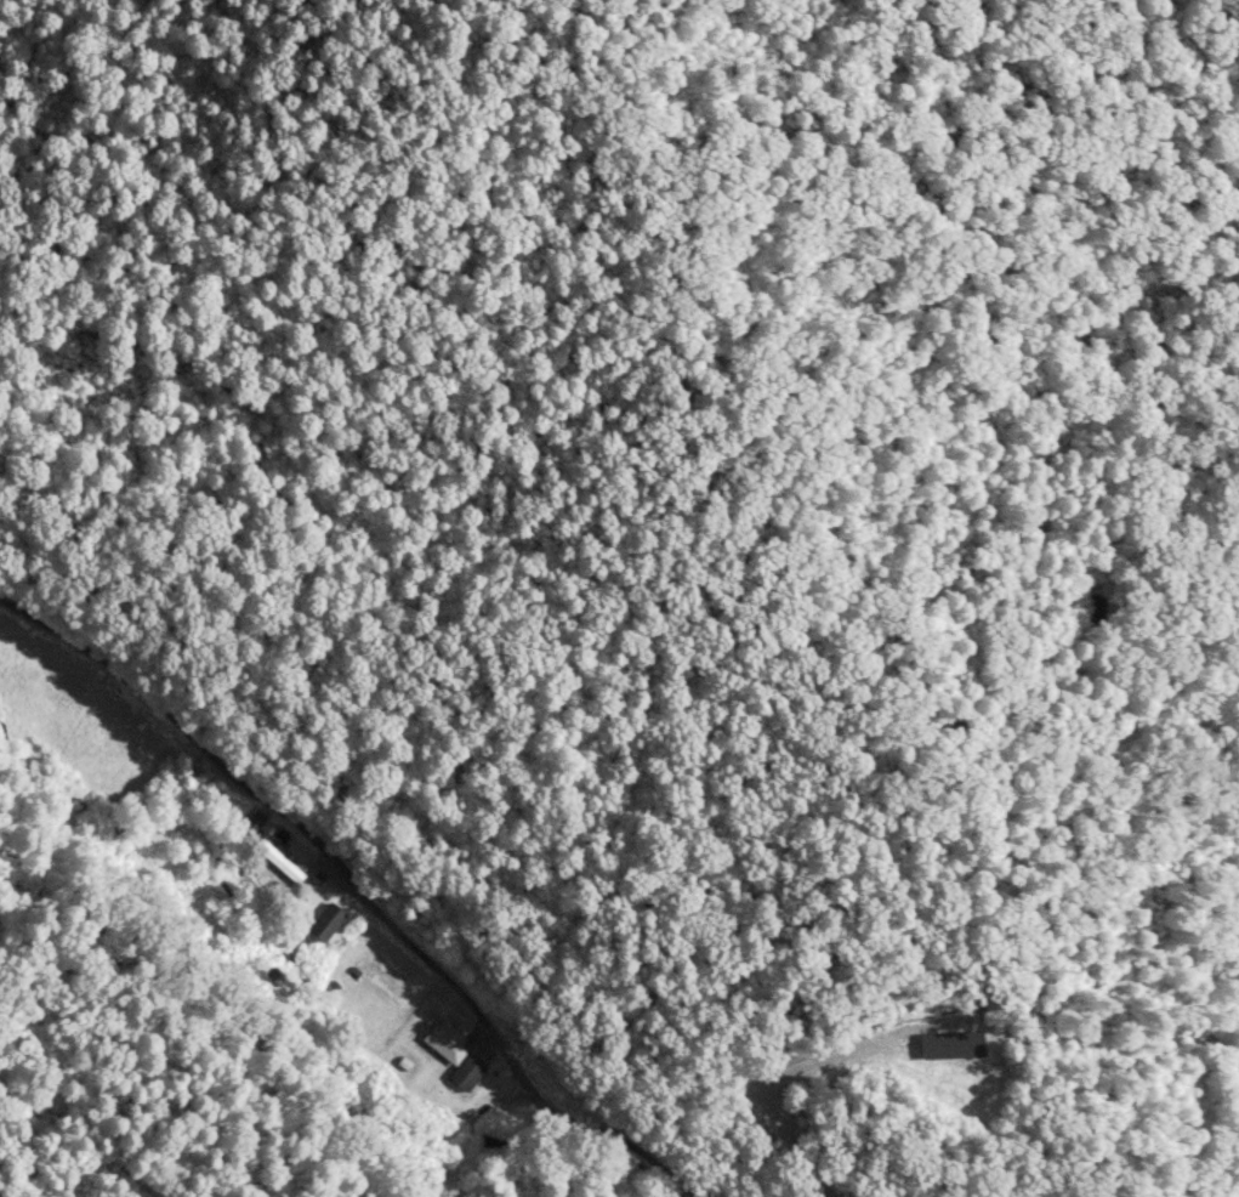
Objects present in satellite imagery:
road: (359, 891)
building: (325, 924)
building: (380, 977)
building: (445, 1046)

